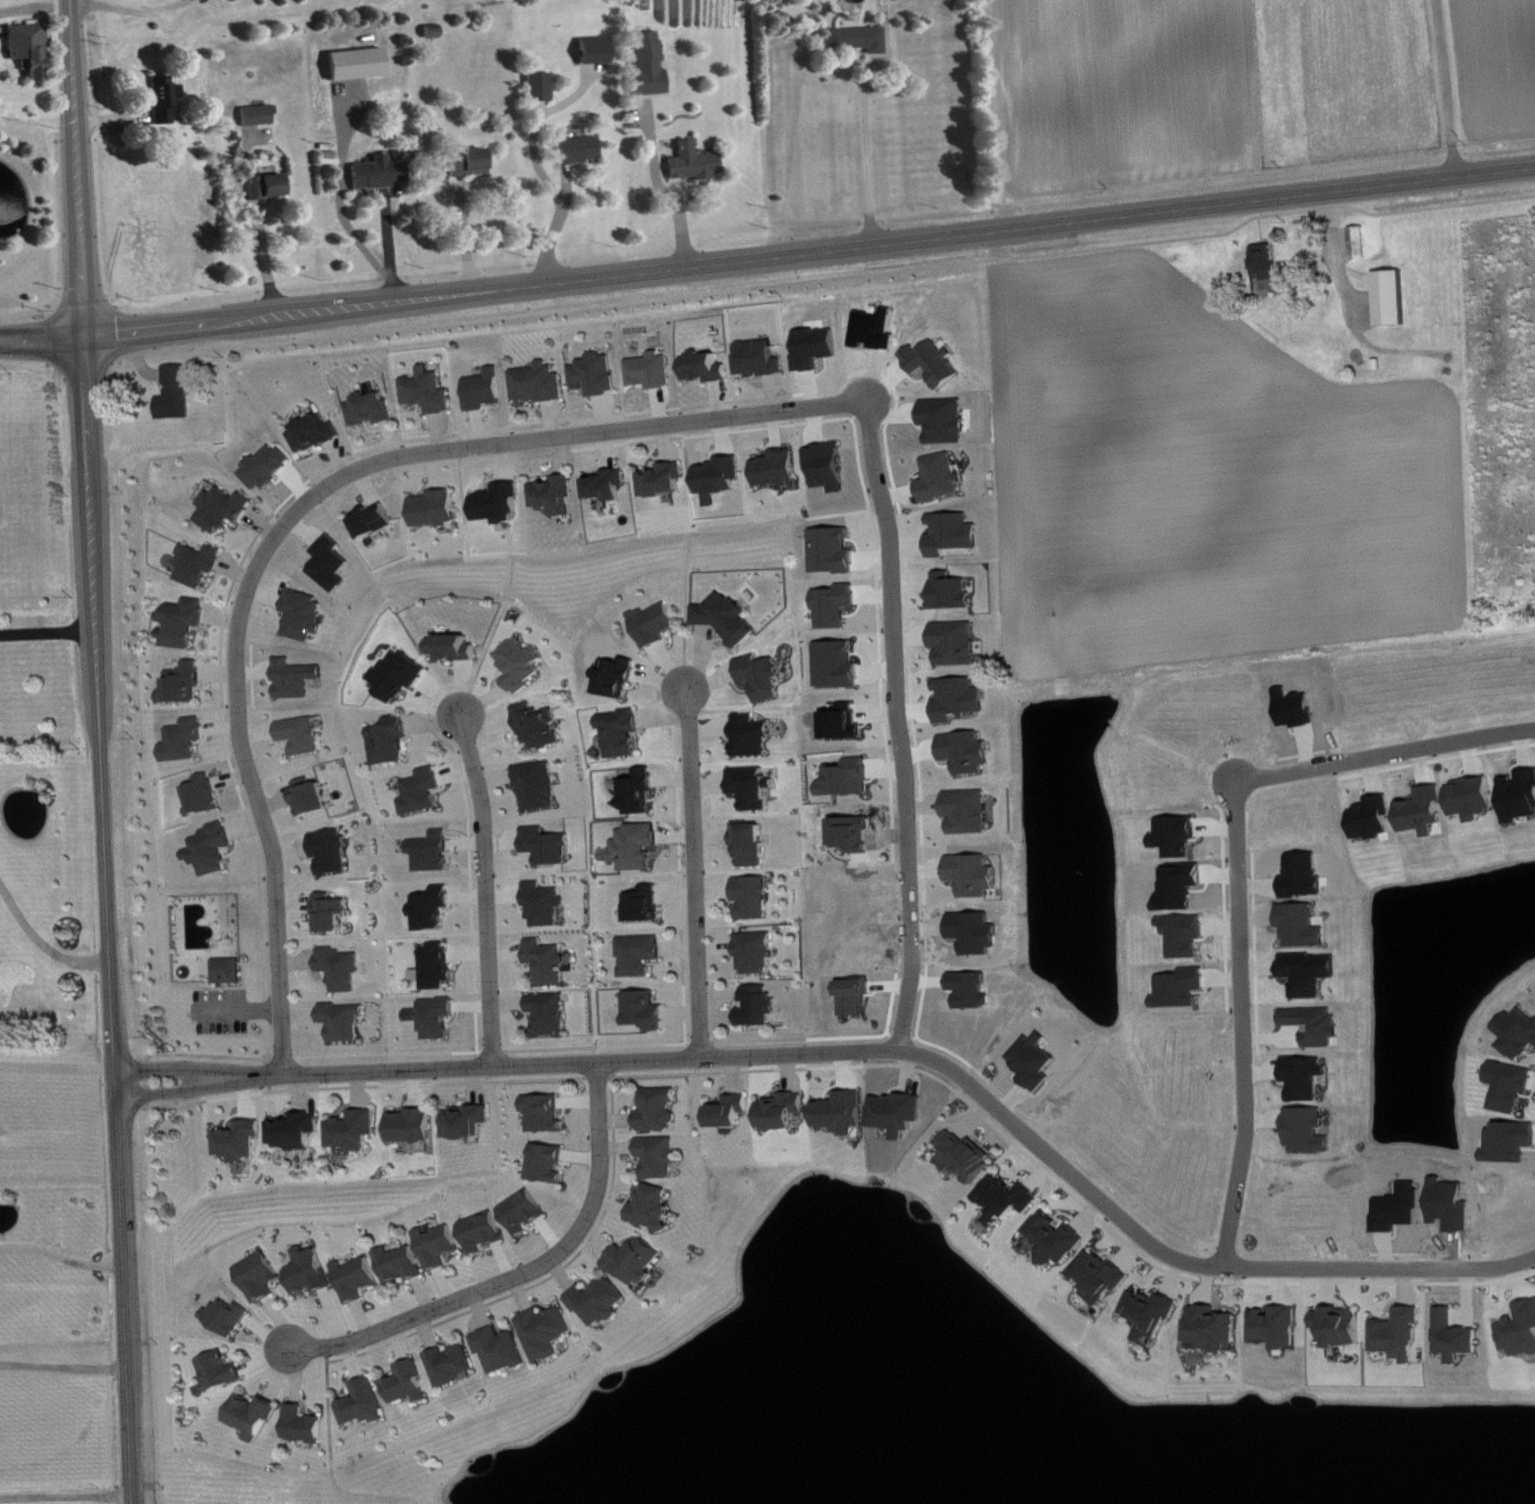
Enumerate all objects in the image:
road: (34, 4)
road: (134, 4)
building: (860, 39)
building: (32, 48)
building: (597, 50)
building: (651, 65)
building: (541, 86)
road: (1451, 86)
building: (165, 100)
building: (580, 148)
road: (872, 153)
building: (471, 162)
building: (696, 162)
building: (382, 173)
building: (269, 186)
road: (665, 189)
road: (560, 228)
road: (469, 237)
building: (1362, 242)
road: (388, 245)
road: (767, 254)
building: (1269, 261)
building: (1394, 297)
building: (762, 358)
building: (936, 362)
building: (708, 367)
building: (654, 370)
building: (599, 374)
building: (542, 383)
building: (487, 389)
building: (431, 391)
building: (179, 393)
building: (373, 408)
building: (947, 420)
road: (588, 432)
building: (317, 433)
building: (270, 466)
building: (830, 466)
building: (778, 468)
building: (721, 477)
building: (943, 478)
building: (666, 480)
building: (610, 484)
building: (556, 495)
building: (501, 503)
building: (438, 508)
building: (228, 509)
building: (377, 520)
road: (746, 527)
building: (955, 533)
building: (834, 550)
road: (524, 554)
building: (334, 563)
building: (202, 564)
building: (953, 591)
building: (837, 606)
road: (684, 607)
building: (307, 615)
building: (729, 618)
building: (186, 622)
building: (655, 624)
road: (48, 629)
road: (490, 634)
building: (958, 643)
building: (454, 647)
building: (522, 664)
building: (401, 675)
building: (619, 676)
building: (764, 676)
building: (299, 678)
building: (186, 683)
building: (961, 698)
road: (906, 719)
building: (845, 722)
building: (541, 725)
building: (624, 732)
building: (304, 734)
building: (753, 735)
building: (187, 740)
building: (393, 740)
road: (101, 751)
building: (969, 752)
road: (248, 772)
building: (848, 778)
building: (540, 786)
building: (756, 787)
building: (424, 791)
building: (641, 791)
building: (206, 795)
building: (315, 796)
building: (1475, 798)
building: (971, 811)
building: (1376, 818)
building: (854, 833)
building: (1179, 836)
building: (753, 843)
building: (548, 845)
building: (638, 846)
building: (213, 849)
building: (333, 851)
building: (434, 852)
road: (1240, 870)
road: (693, 871)
building: (975, 875)
road: (484, 886)
building: (756, 897)
building: (546, 904)
building: (646, 904)
building: (434, 907)
building: (333, 912)
building: (1306, 925)
building: (1188, 934)
road: (42, 942)
building: (759, 952)
building: (643, 954)
building: (550, 961)
building: (439, 965)
building: (343, 968)
building: (231, 970)
building: (1314, 972)
building: (1185, 988)
building: (974, 989)
building: (762, 1006)
road: (235, 1008)
building: (648, 1010)
building: (552, 1013)
building: (439, 1017)
building: (345, 1021)
building: (1520, 1033)
road: (57, 1064)
road: (484, 1064)
building: (1513, 1086)
building: (662, 1110)
building: (736, 1111)
building: (787, 1111)
building: (845, 1112)
building: (547, 1113)
building: (469, 1121)
building: (414, 1126)
building: (357, 1130)
building: (299, 1131)
building: (241, 1141)
building: (663, 1156)
building: (970, 1156)
building: (550, 1163)
building: (1010, 1199)
building: (656, 1207)
building: (528, 1212)
building: (486, 1232)
building: (1060, 1238)
building: (442, 1246)
road: (1161, 1247)
road: (61, 1255)
building: (640, 1261)
building: (404, 1264)
building: (313, 1271)
road: (521, 1272)
building: (264, 1276)
building: (1103, 1276)
building: (360, 1278)
building: (604, 1301)
building: (1155, 1313)
building: (232, 1316)
building: (1280, 1326)
building: (1345, 1326)
building: (1217, 1328)
building: (1521, 1331)
building: (551, 1332)
building: (1402, 1334)
building: (1458, 1336)
building: (505, 1349)
building: (457, 1364)
road: (63, 1365)
building: (224, 1371)
building: (413, 1383)
building: (368, 1403)
building: (257, 1415)
building: (308, 1425)
road: (333, 1457)
road: (65, 1494)

